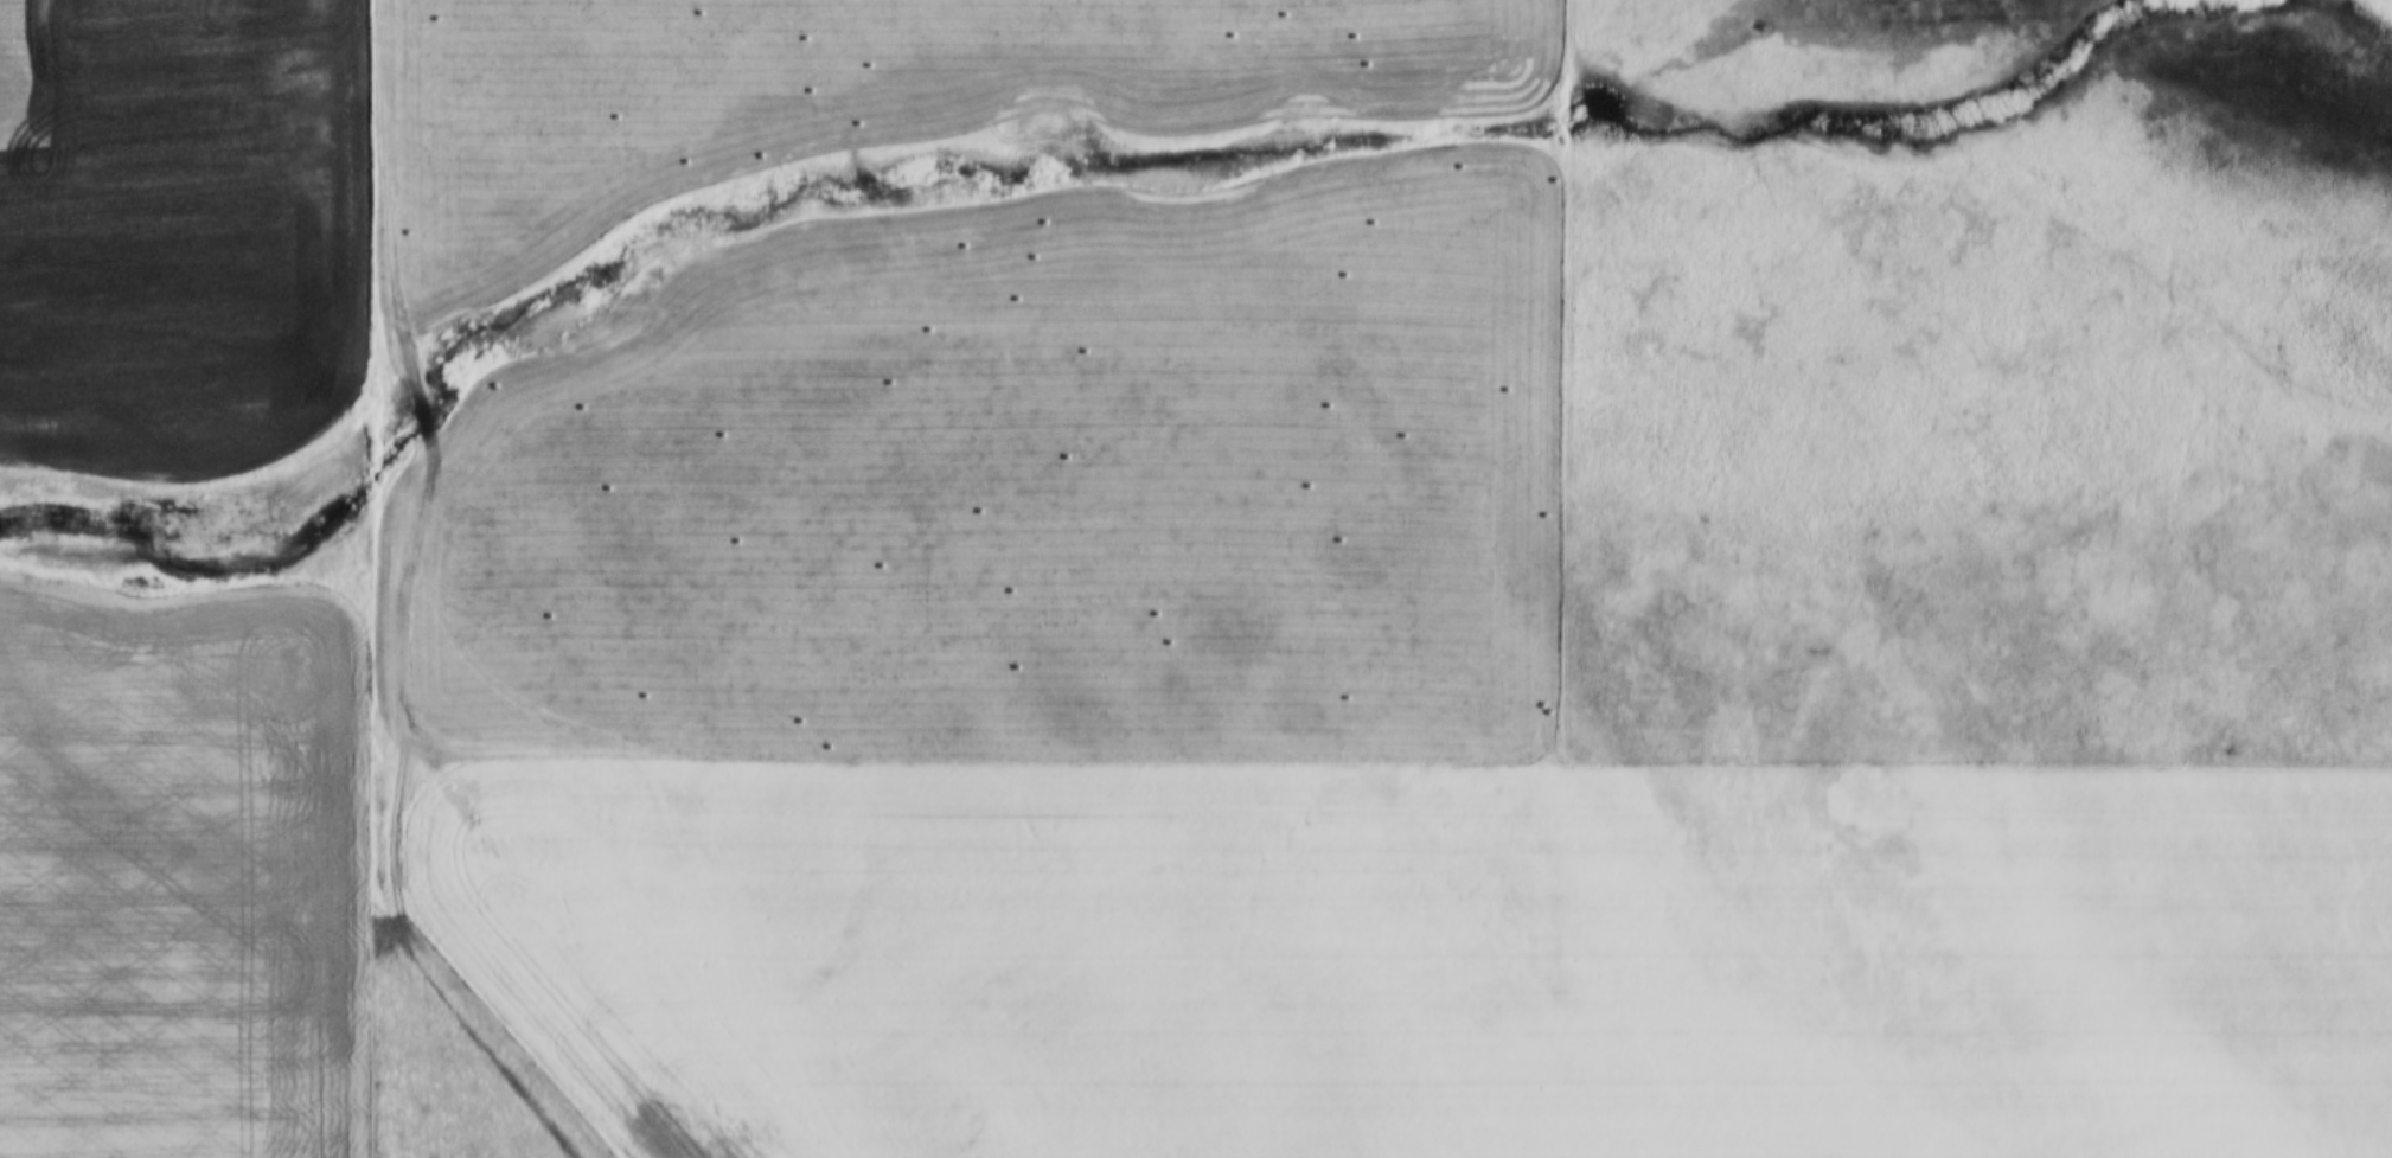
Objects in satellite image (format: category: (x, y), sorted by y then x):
road: (382, 232)

